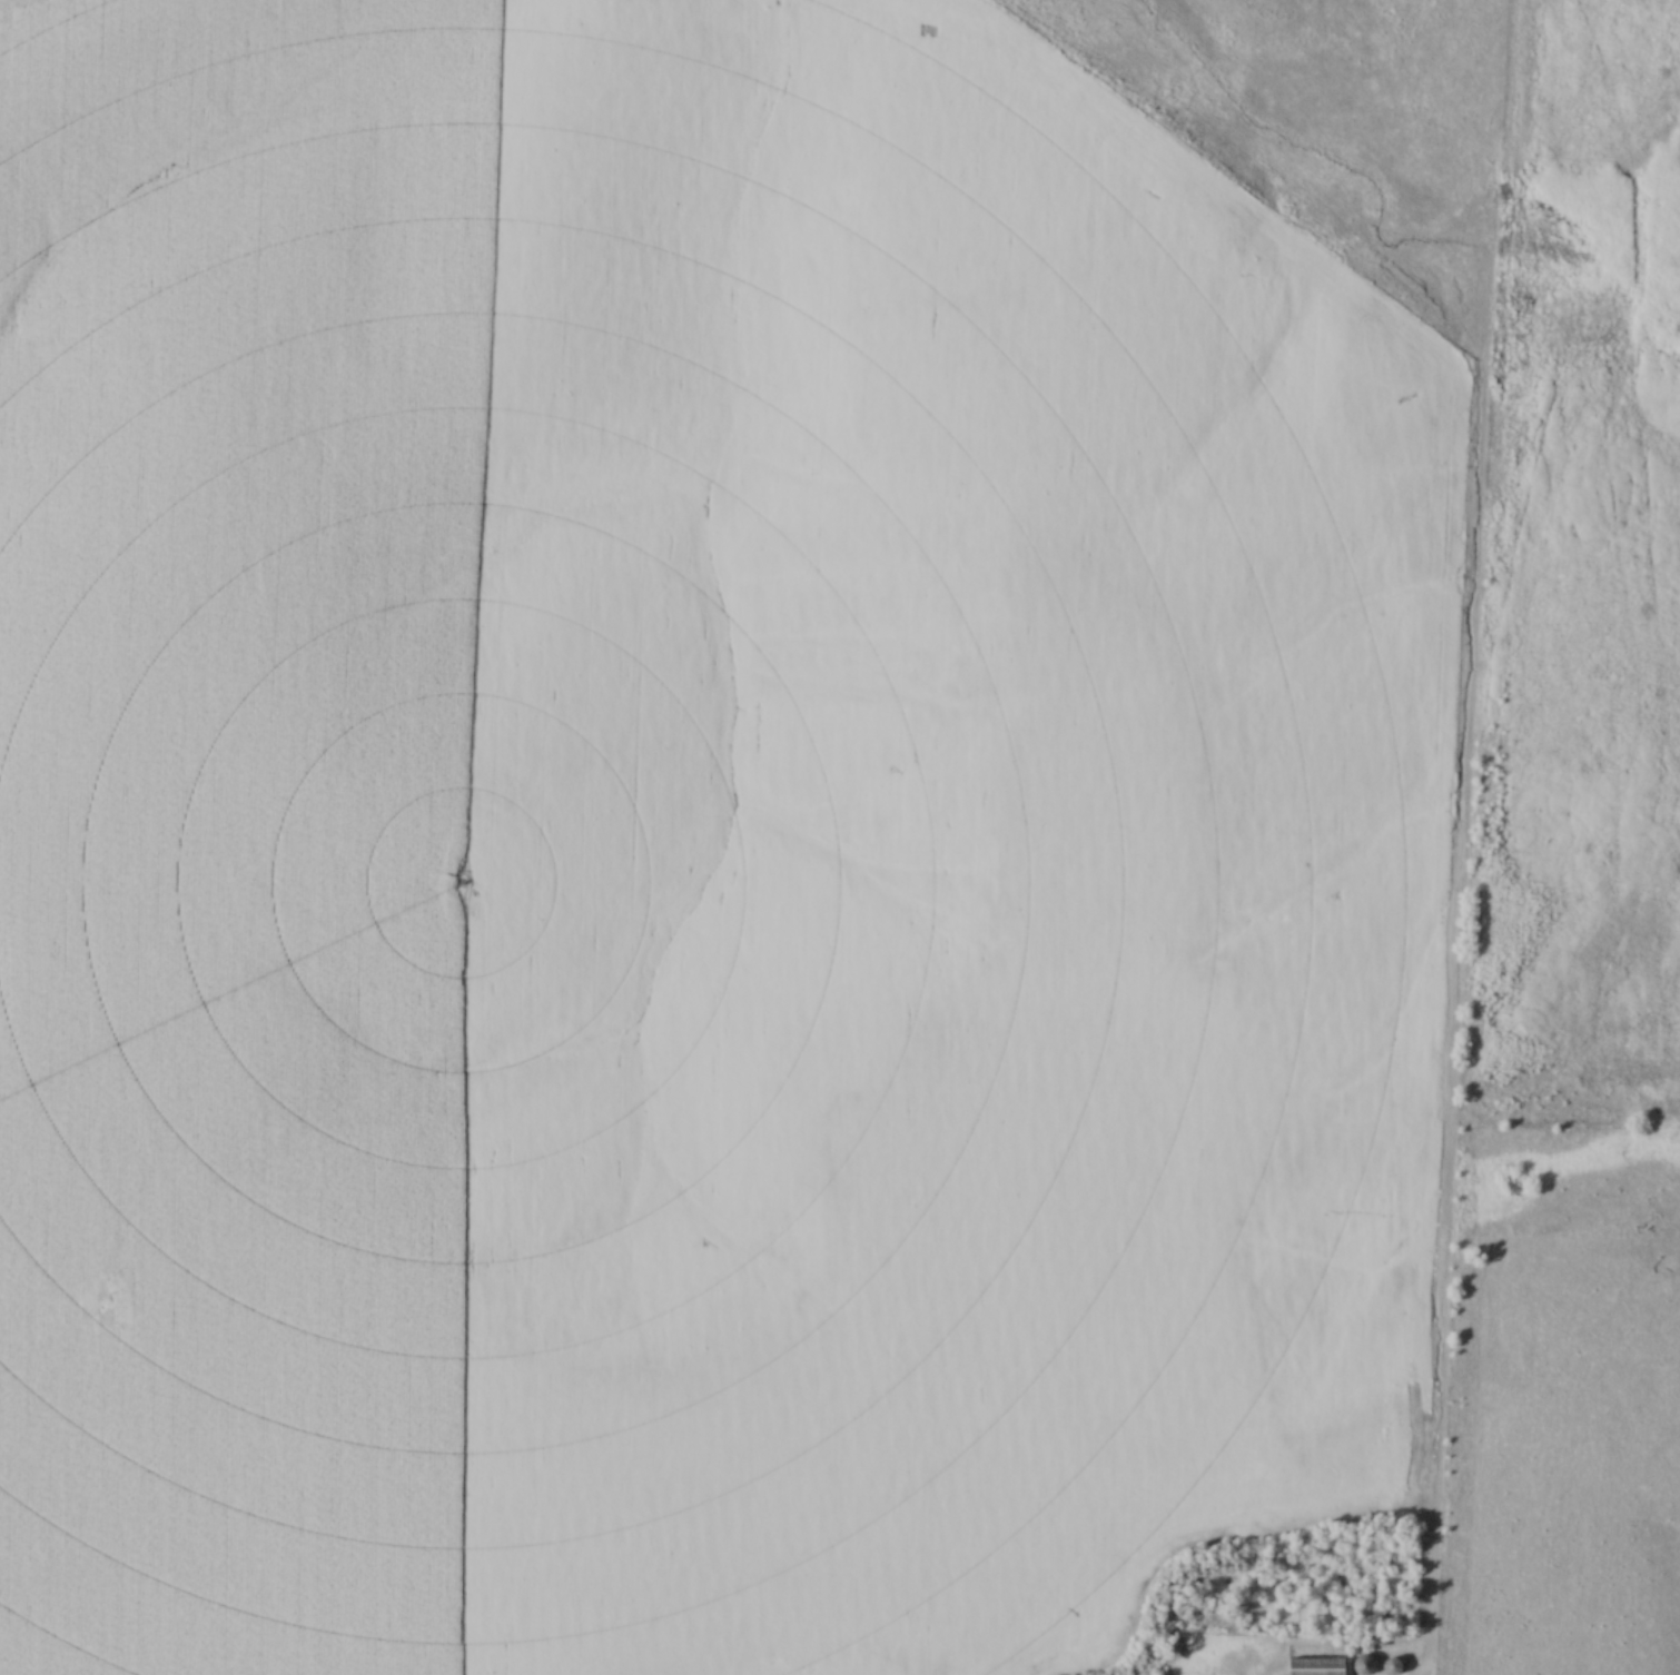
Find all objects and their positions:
building: (1363, 1665)
building: (1315, 1666)
building: (1391, 1667)

